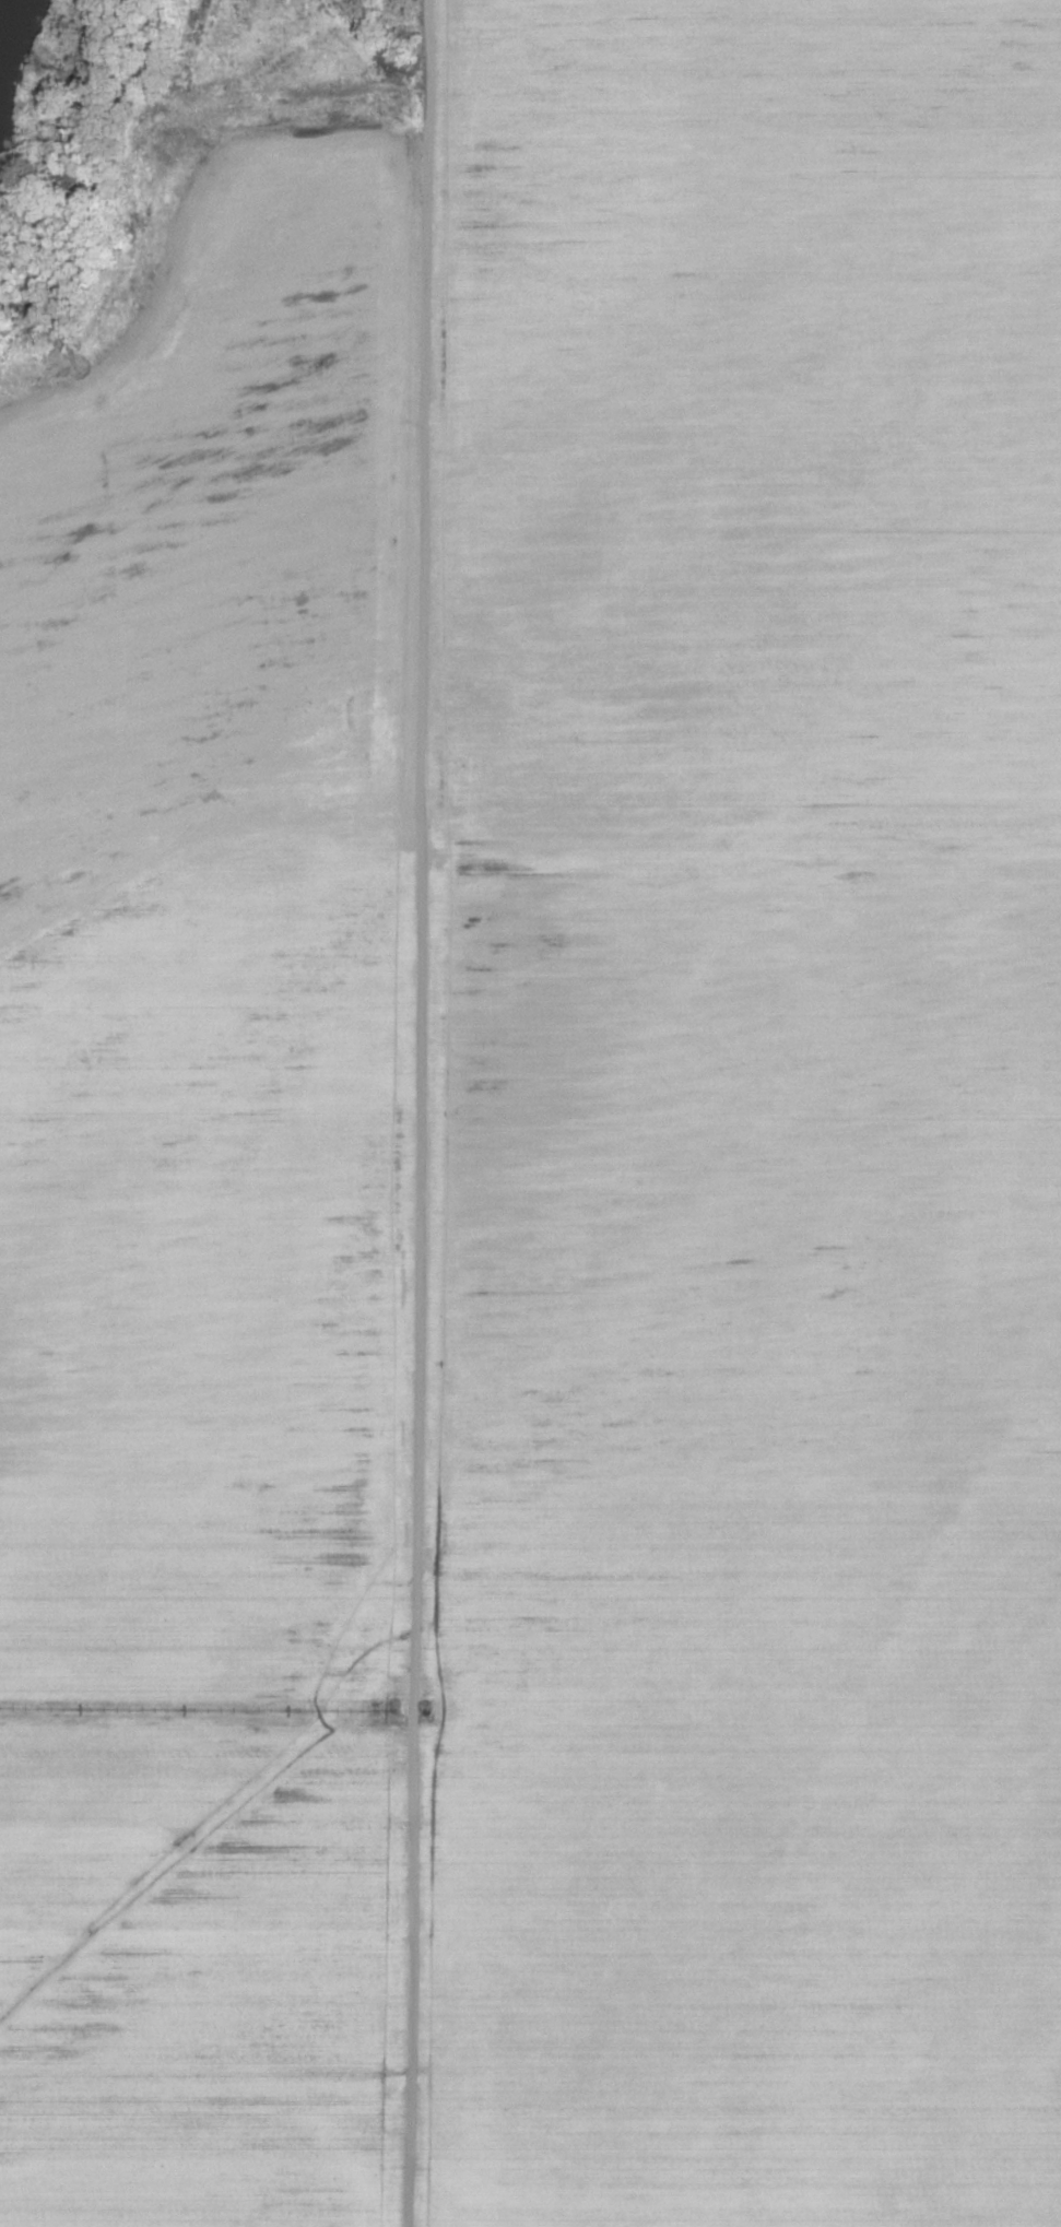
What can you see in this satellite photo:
road: (418, 427)
road: (739, 852)
road: (415, 1541)

